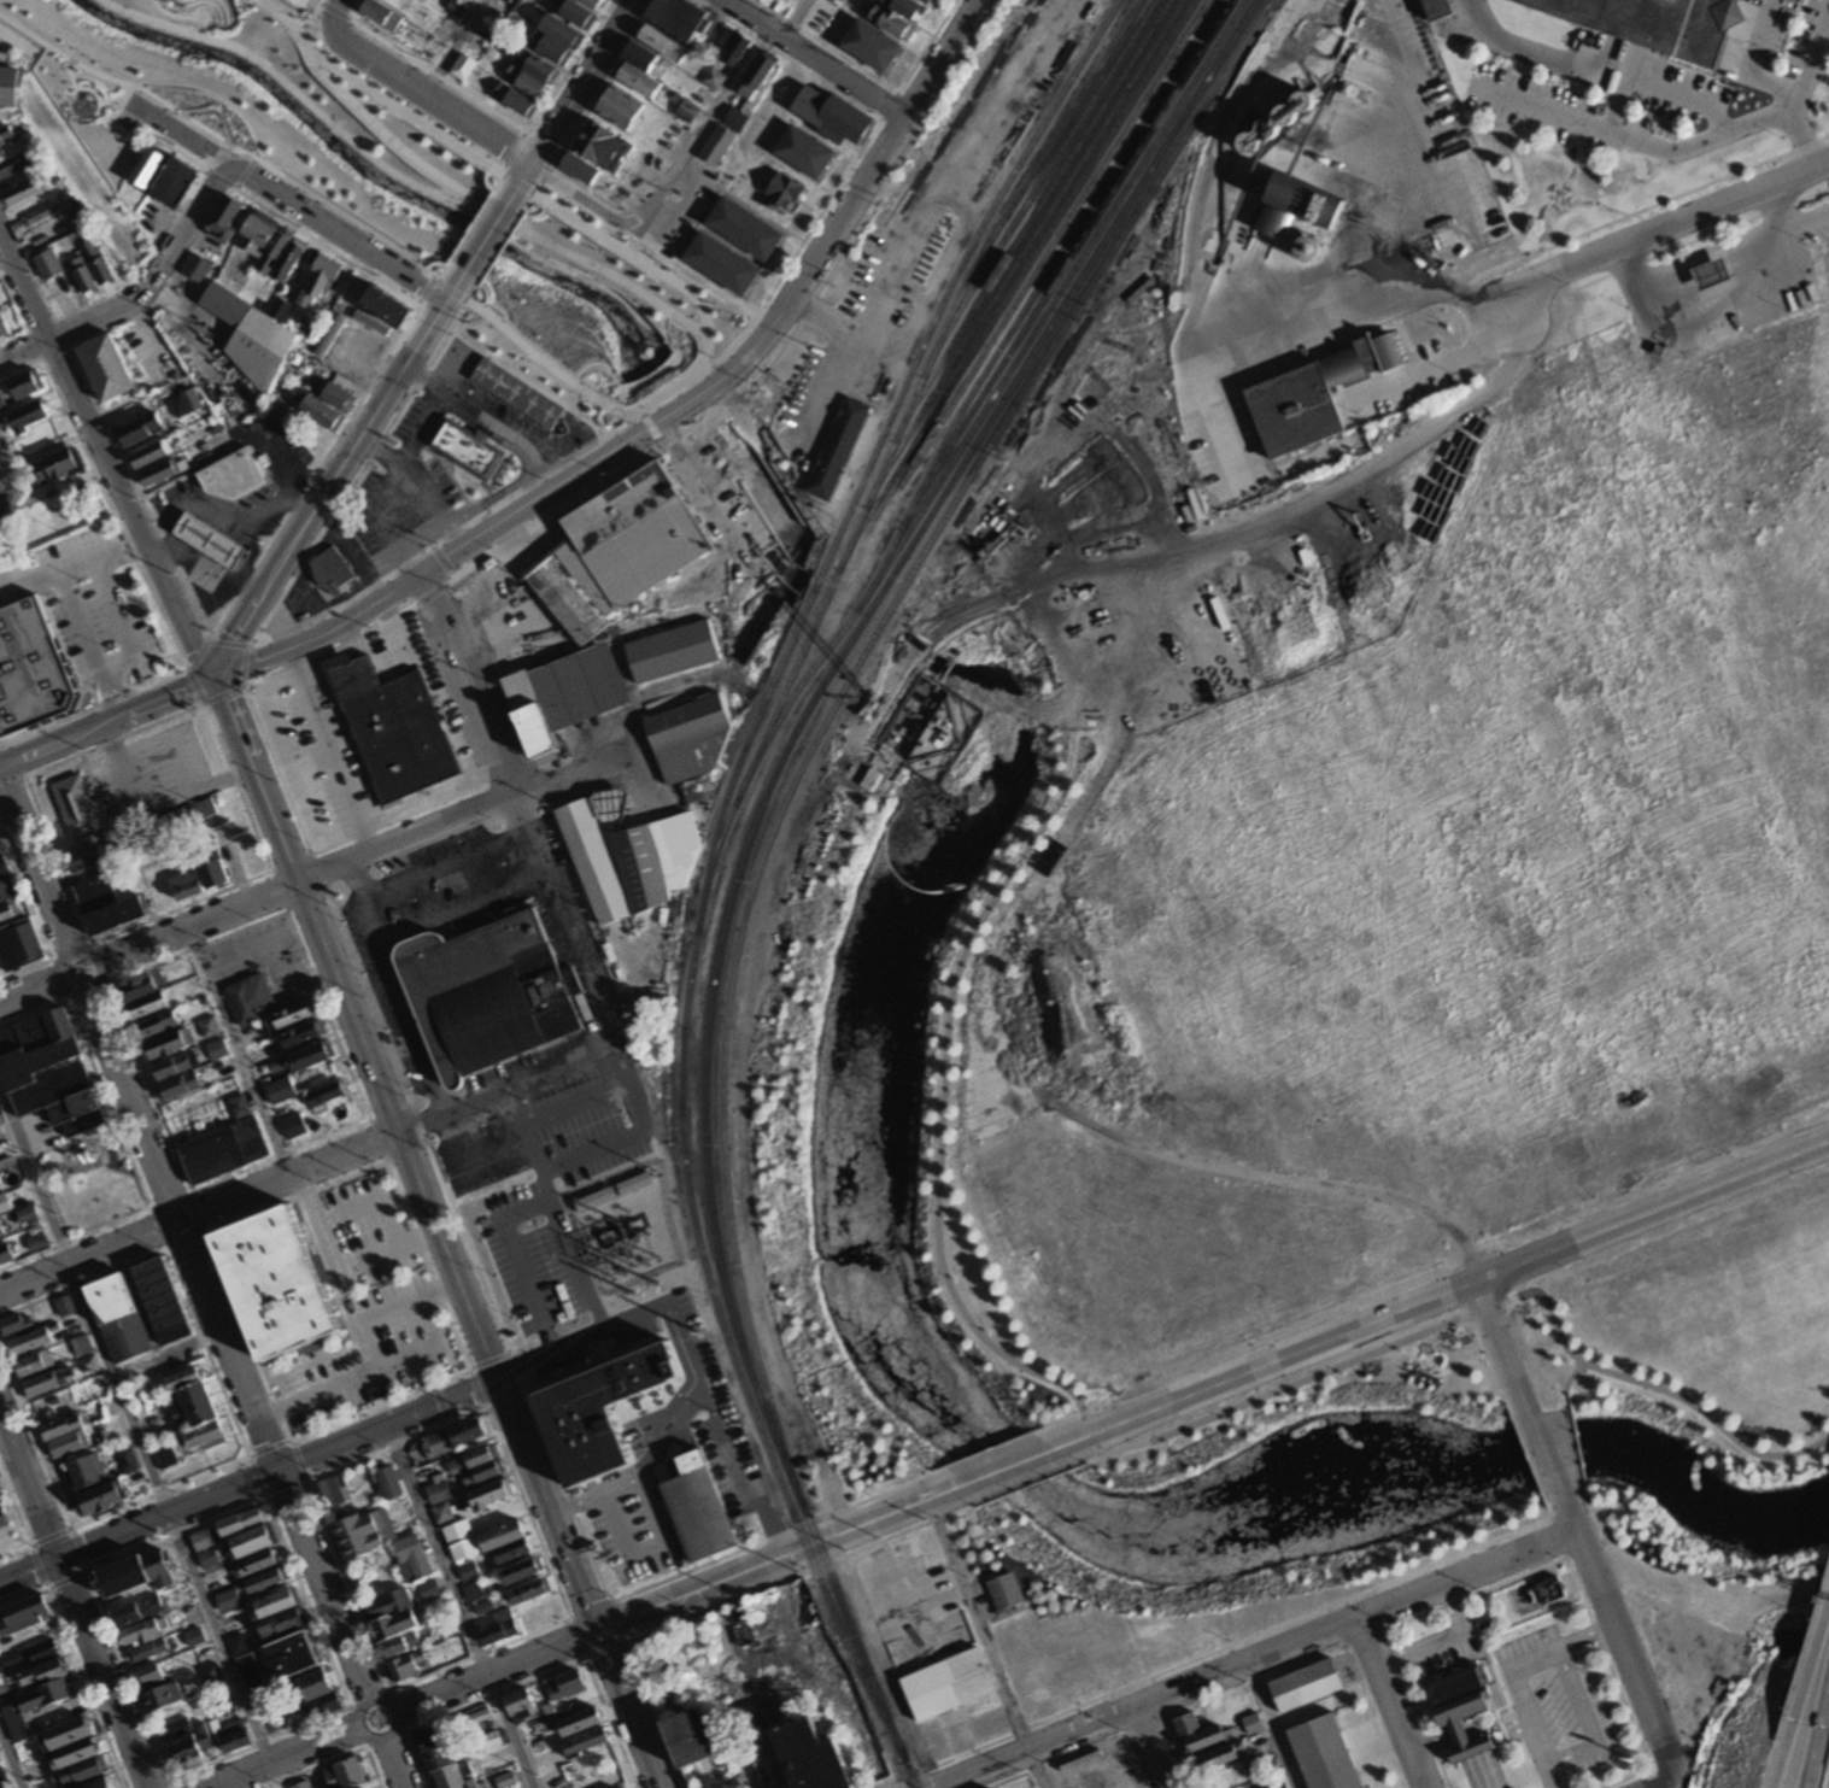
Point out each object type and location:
road: (247, 1)
road: (321, 1)
fountain: (221, 7)
road: (351, 8)
road: (334, 10)
building: (1440, 10)
road: (228, 11)
road: (181, 14)
street lamp: (297, 16)
road: (310, 16)
road: (792, 17)
road: (206, 19)
road: (216, 23)
road: (222, 23)
building: (1652, 23)
street lamp: (351, 24)
road: (190, 30)
road: (13, 37)
road: (455, 46)
street lamp: (329, 53)
road: (1525, 54)
road: (816, 58)
road: (570, 66)
street lamp: (77, 70)
road: (438, 72)
road: (1635, 78)
road: (581, 80)
building: (7, 83)
street lamp: (444, 83)
road: (600, 83)
road: (83, 86)
road: (418, 87)
road: (1781, 87)
road: (127, 90)
road: (379, 93)
street lamp: (392, 94)
road: (886, 104)
road: (99, 106)
road: (218, 106)
road: (1538, 107)
road: (182, 110)
road: (1798, 110)
road: (405, 111)
street lamp: (172, 112)
parking lot: (127, 119)
road: (703, 122)
road: (1745, 127)
road: (145, 129)
road: (182, 131)
road: (385, 133)
road: (524, 133)
street lamp: (455, 134)
road: (223, 139)
road: (228, 140)
road: (231, 143)
road: (515, 151)
road: (221, 152)
road: (1301, 154)
street lamp: (240, 156)
road: (252, 158)
building: (143, 164)
road: (951, 164)
street lamp: (483, 171)
road: (524, 171)
road: (242, 172)
road: (544, 172)
road: (219, 177)
road: (401, 177)
road: (485, 177)
road: (512, 178)
building: (170, 181)
road: (497, 181)
road: (523, 184)
railway: (1037, 184)
street lamp: (543, 186)
park: (388, 188)
street lamp: (303, 192)
road: (510, 194)
road: (528, 195)
road: (581, 198)
building: (1286, 201)
street lamp: (544, 209)
road: (535, 210)
street lamp: (474, 212)
street lamp: (582, 213)
road: (843, 213)
road: (1612, 218)
building: (225, 219)
railway: (1031, 219)
road: (1809, 223)
road: (469, 227)
road: (1659, 228)
building: (251, 230)
street lamp: (365, 230)
road: (336, 231)
street lamp: (459, 235)
street lamp: (509, 235)
road: (1700, 235)
road: (483, 236)
building: (263, 239)
street lamp: (626, 240)
railway: (1051, 244)
road: (322, 245)
road: (498, 245)
building: (276, 250)
road: (793, 252)
railway: (1021, 252)
railway: (1168, 254)
street lamp: (496, 257)
road: (433, 259)
road: (146, 260)
building: (291, 260)
railway: (1066, 260)
road: (27, 262)
street lamp: (427, 262)
road: (442, 266)
building: (197, 269)
street lamp: (584, 269)
street lamp: (670, 270)
road: (658, 271)
road: (433, 277)
building: (321, 282)
road: (453, 282)
road: (165, 283)
railway: (1015, 283)
road: (451, 286)
road: (473, 286)
road: (23, 288)
road: (422, 288)
road: (482, 293)
road: (140, 294)
railway: (1030, 297)
road: (1724, 298)
street lamp: (483, 300)
street lamp: (639, 301)
road: (414, 303)
street lamp: (708, 303)
building: (224, 304)
building: (381, 305)
building: (277, 307)
road: (481, 309)
road: (19, 313)
flagpole: (737, 315)
flagpole: (476, 317)
road: (821, 318)
flagpole: (463, 320)
flagpole: (470, 321)
flagpole: (732, 323)
flagpole: (740, 323)
street lamp: (490, 326)
building: (313, 329)
street lamp: (449, 334)
road: (147, 335)
road: (65, 344)
building: (262, 348)
parking lot: (152, 353)
street lamp: (523, 354)
street lamp: (711, 357)
road: (1432, 365)
building: (107, 370)
road: (562, 373)
road: (423, 376)
road: (640, 379)
road: (1201, 379)
railway: (999, 385)
road: (826, 387)
building: (516, 391)
street lamp: (570, 391)
road: (672, 391)
building: (1311, 393)
building: (338, 397)
road: (733, 399)
building: (193, 400)
road: (680, 405)
building: (178, 408)
building: (280, 409)
road: (639, 410)
building: (318, 411)
road: (477, 412)
road: (645, 420)
street lamp: (626, 421)
road: (420, 426)
building: (140, 430)
railway: (898, 430)
road: (652, 432)
road: (593, 438)
road: (657, 441)
building: (834, 446)
parking lot: (277, 447)
building: (468, 447)
road: (537, 447)
road: (377, 449)
street lamp: (639, 452)
building: (152, 456)
road: (274, 461)
road: (447, 462)
road: (574, 462)
parking lot: (423, 470)
road: (751, 471)
building: (163, 473)
road: (447, 473)
building: (231, 474)
road: (310, 474)
road: (391, 474)
street lamp: (596, 479)
road: (323, 488)
road: (550, 488)
road: (504, 489)
road: (139, 491)
park: (750, 492)
street lamp: (552, 506)
road: (128, 508)
road: (113, 512)
road: (260, 520)
building: (206, 538)
gas station: (206, 538)
road: (432, 545)
street lamp: (487, 546)
building: (615, 549)
road: (346, 551)
road: (69, 558)
road: (439, 558)
road: (793, 563)
road: (206, 564)
street lamp: (457, 565)
road: (789, 568)
building: (332, 570)
road: (447, 575)
road: (310, 590)
road: (430, 591)
parking lot: (299, 602)
parking lot: (93, 606)
road: (1010, 619)
road: (122, 621)
road: (961, 625)
road: (259, 627)
road: (392, 629)
road: (317, 632)
road: (87, 640)
road: (210, 641)
road: (205, 643)
road: (228, 643)
road: (245, 646)
road: (246, 649)
road: (332, 650)
building: (669, 650)
road: (195, 655)
road: (335, 655)
building: (29, 666)
road: (244, 666)
road: (187, 668)
railway: (808, 672)
parking lot: (426, 679)
traffic signals: (209, 680)
road: (968, 680)
road: (465, 681)
road: (194, 688)
road: (965, 688)
building: (558, 693)
road: (221, 694)
road: (1075, 704)
railway: (832, 707)
road: (104, 722)
building: (395, 729)
building: (686, 733)
road: (326, 749)
parking lot: (317, 755)
road: (178, 764)
road: (286, 764)
parking lot: (150, 774)
building: (869, 779)
road: (429, 798)
road: (152, 807)
building: (76, 808)
railway: (748, 843)
road: (321, 850)
railway: (710, 852)
building: (653, 856)
building: (588, 861)
road: (445, 862)
road: (35, 874)
road: (305, 878)
road: (462, 904)
road: (563, 918)
parking lot: (430, 919)
road: (395, 986)
road: (29, 991)
road: (78, 991)
building: (493, 991)
park: (872, 997)
road: (238, 1051)
road: (125, 1097)
road: (575, 1097)
road: (106, 1100)
road: (452, 1109)
road: (940, 1120)
road: (418, 1121)
road: (632, 1132)
road: (376, 1139)
road: (408, 1149)
road: (406, 1151)
parking lot: (479, 1151)
road: (470, 1156)
road: (131, 1179)
park: (98, 1190)
parking lot: (524, 1194)
road: (242, 1195)
road: (297, 1197)
road: (371, 1198)
road: (556, 1207)
road: (316, 1220)
road: (109, 1225)
power substation: (627, 1229)
road: (186, 1239)
road: (467, 1244)
road: (385, 1249)
road: (517, 1258)
road: (78, 1260)
road: (427, 1264)
power tower: (652, 1282)
building: (280, 1284)
road: (1443, 1291)
road: (1526, 1296)
street lamp: (1530, 1306)
road: (1484, 1307)
road: (382, 1309)
street lamp: (1459, 1330)
power tower: (696, 1333)
road: (248, 1335)
road: (598, 1344)
road: (1499, 1344)
road: (508, 1350)
street lamp: (1397, 1352)
road: (488, 1358)
road: (600, 1359)
road: (524, 1361)
road: (1490, 1361)
street lamp: (1567, 1362)
street lamp: (1619, 1365)
road: (517, 1366)
road: (1440, 1368)
road: (367, 1370)
flagpole: (1414, 1373)
street lamp: (1337, 1374)
flagpole: (1421, 1377)
flagpole: (1428, 1379)
road: (1565, 1382)
road: (1653, 1384)
road: (1283, 1387)
road: (476, 1388)
road: (1270, 1391)
street lamp: (1689, 1394)
road: (506, 1397)
street lamp: (1279, 1399)
street lamp: (1086, 1400)
road: (377, 1402)
street lamp: (1571, 1406)
building: (592, 1409)
parking lot: (713, 1409)
street lamp: (1506, 1411)
road: (1060, 1420)
street lamp: (1223, 1423)
street lamp: (1036, 1425)
road: (662, 1431)
road: (1089, 1431)
street lamp: (1741, 1431)
road: (4, 1432)
street lamp: (1576, 1432)
street lamp: (1811, 1436)
street lamp: (1004, 1438)
street lamp: (1518, 1440)
road: (139, 1442)
street lamp: (1165, 1444)
road: (393, 1446)
road: (990, 1448)
road: (1575, 1449)
street lamp: (973, 1450)
road: (1543, 1453)
road: (1526, 1455)
road: (1086, 1456)
road: (1008, 1464)
street lamp: (1083, 1464)
street lamp: (937, 1465)
street lamp: (1583, 1467)
road: (275, 1470)
road: (734, 1471)
street lamp: (1531, 1473)
street lamp: (1051, 1476)
road: (12, 1478)
road: (1026, 1481)
road: (563, 1489)
street lamp: (1016, 1490)
street lamp: (1588, 1493)
street lamp: (1542, 1501)
road: (193, 1505)
street lamp: (980, 1505)
building: (696, 1506)
road: (1548, 1507)
road: (526, 1511)
road: (1569, 1513)
road: (1595, 1518)
parking lot: (635, 1532)
road: (773, 1534)
road: (1559, 1536)
road: (1579, 1538)
road: (1605, 1542)
road: (646, 1546)
road: (1590, 1546)
road: (1576, 1553)
road: (776, 1555)
road: (799, 1572)
power tower: (796, 1577)
building: (1003, 1590)
road: (1464, 1598)
road: (76, 1599)
road: (459, 1606)
road: (590, 1606)
road: (615, 1620)
traffic signals: (596, 1628)
road: (578, 1635)
road: (1437, 1638)
road: (985, 1641)
parking lot: (1440, 1647)
road: (606, 1648)
road: (1207, 1651)
road: (479, 1652)
road: (1626, 1653)
road: (1253, 1658)
road: (881, 1661)
road: (494, 1667)
road: (1611, 1670)
road: (1518, 1679)
building: (945, 1681)
building: (1308, 1686)
road: (496, 1693)
road: (380, 1698)
parking lot: (1553, 1699)
road: (1388, 1702)
building: (1459, 1706)
road: (627, 1707)
road: (1418, 1707)
road: (1813, 1711)
road: (652, 1714)
road: (610, 1719)
road: (1372, 1719)
road: (1587, 1720)
road: (1036, 1722)
building: (1183, 1722)
building: (1254, 1723)
road: (1267, 1725)
building: (1235, 1727)
building: (686, 1735)
building: (1203, 1739)
road: (1461, 1740)
road: (1092, 1745)
road: (1151, 1747)
road: (1179, 1752)
building: (1326, 1754)
road: (283, 1757)
building: (808, 1758)
building: (1221, 1758)
road: (1136, 1760)
road: (8, 1761)
road: (393, 1761)
road: (1667, 1774)
road: (1624, 1778)
road: (1794, 1781)
road: (1795, 1781)
building: (1274, 1784)
road: (1651, 1786)
building: (992, 1787)

